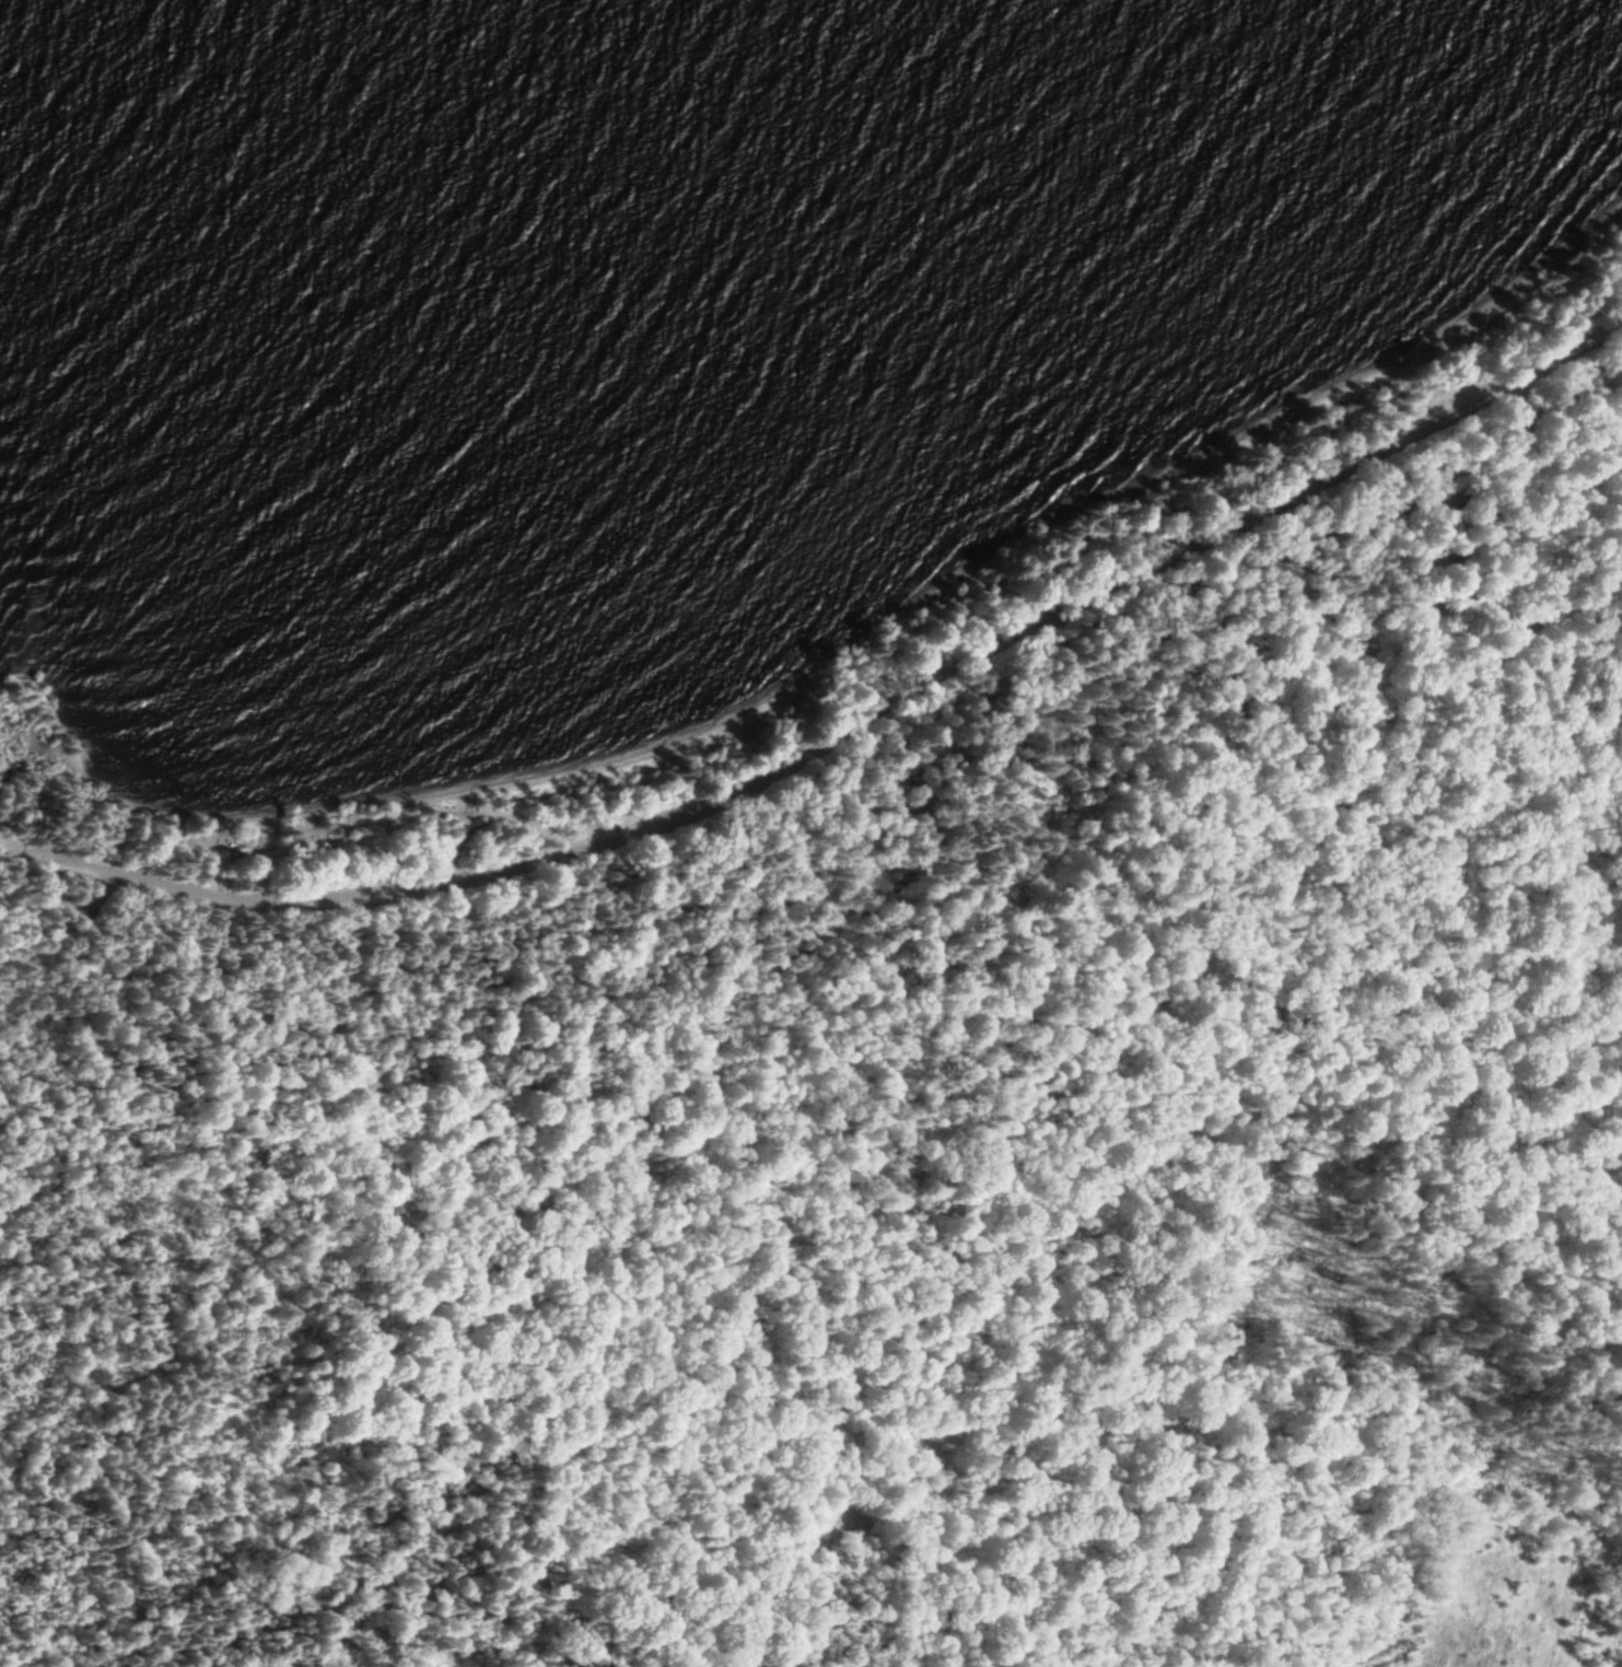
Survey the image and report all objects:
road: (1446, 561)
road: (867, 719)
road: (26, 851)
park: (871, 1088)
road: (859, 1306)
road: (219, 1472)

